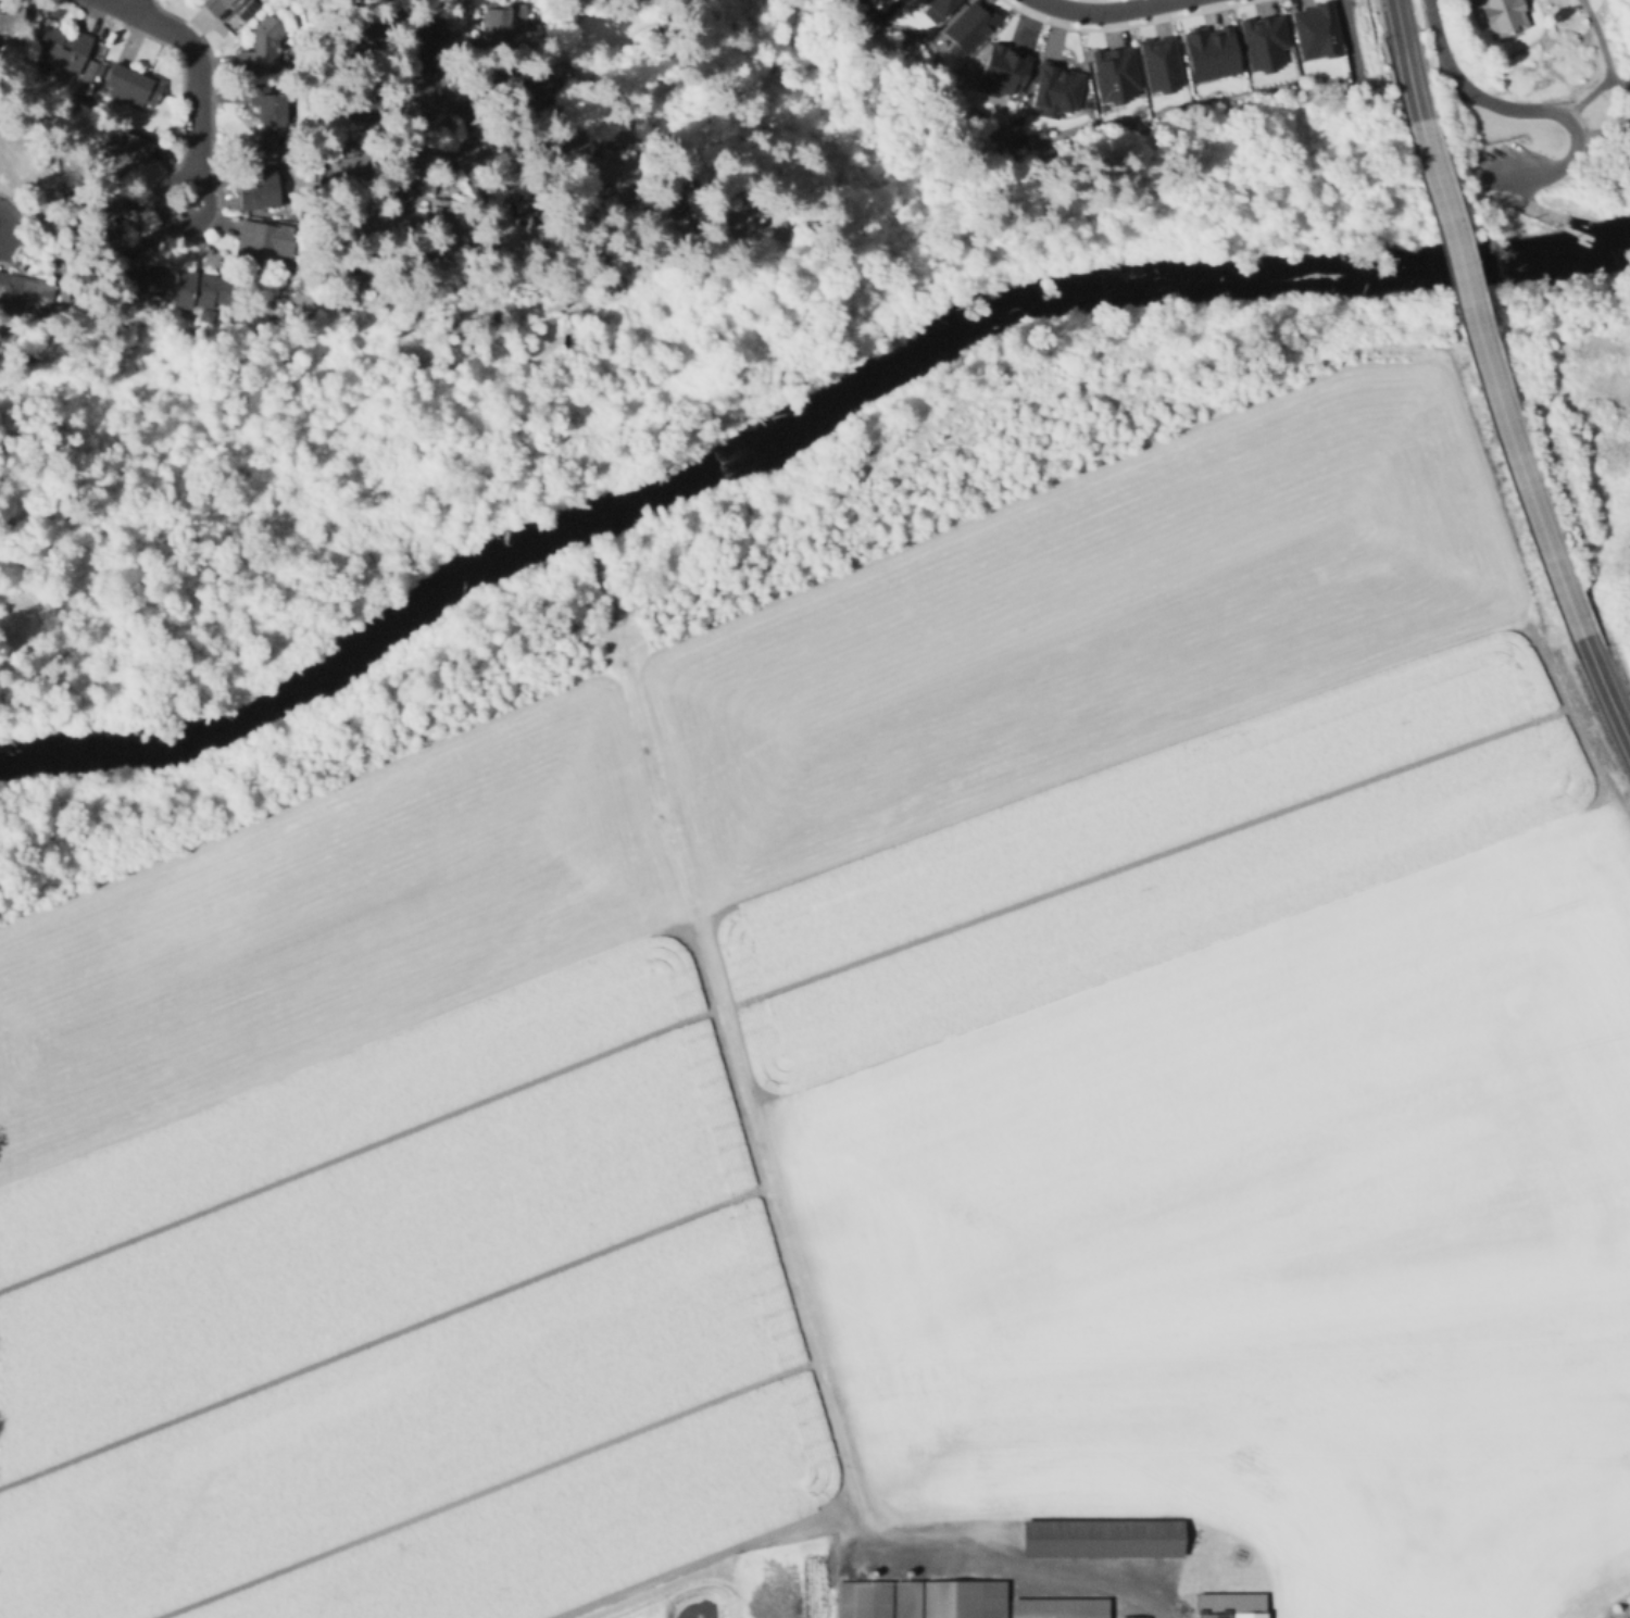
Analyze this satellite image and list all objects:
road: (1233, 1)
road: (121, 2)
road: (1525, 4)
building: (220, 7)
building: (933, 8)
road: (1103, 10)
road: (1474, 15)
building: (1500, 15)
building: (11, 24)
road: (1123, 24)
building: (500, 25)
building: (966, 26)
building: (1314, 29)
road: (1379, 29)
building: (365, 32)
road: (1598, 37)
building: (1261, 40)
building: (262, 45)
building: (63, 51)
building: (1206, 52)
road: (1406, 59)
building: (1157, 62)
building: (100, 68)
building: (1000, 70)
building: (89, 71)
road: (426, 73)
building: (1113, 73)
road: (1619, 80)
road: (1629, 83)
building: (134, 85)
building: (1052, 87)
building: (528, 92)
road: (1588, 96)
road: (197, 97)
building: (371, 97)
park: (1532, 105)
building: (267, 109)
road: (1534, 110)
road: (1579, 121)
road: (1607, 125)
road: (1107, 137)
building: (268, 145)
road: (502, 145)
building: (130, 151)
parking lot: (1508, 164)
building: (359, 175)
building: (611, 178)
building: (259, 193)
road: (1520, 202)
building: (294, 211)
building: (105, 220)
building: (509, 221)
building: (440, 230)
building: (262, 242)
building: (136, 271)
building: (200, 289)
building: (26, 291)
road: (1489, 381)
park: (1596, 399)
river: (792, 423)
road: (1605, 690)
crop: (1170, 898)
crop: (387, 1206)
road: (789, 1238)
crop: (1316, 1446)
building: (1104, 1538)
building: (873, 1575)
silo: (873, 1575)
building: (908, 1575)
silo: (908, 1575)
building: (963, 1598)
building: (906, 1600)
building: (864, 1601)
building: (1231, 1605)
building: (1059, 1608)
road: (631, 1609)
building: (1133, 1617)

